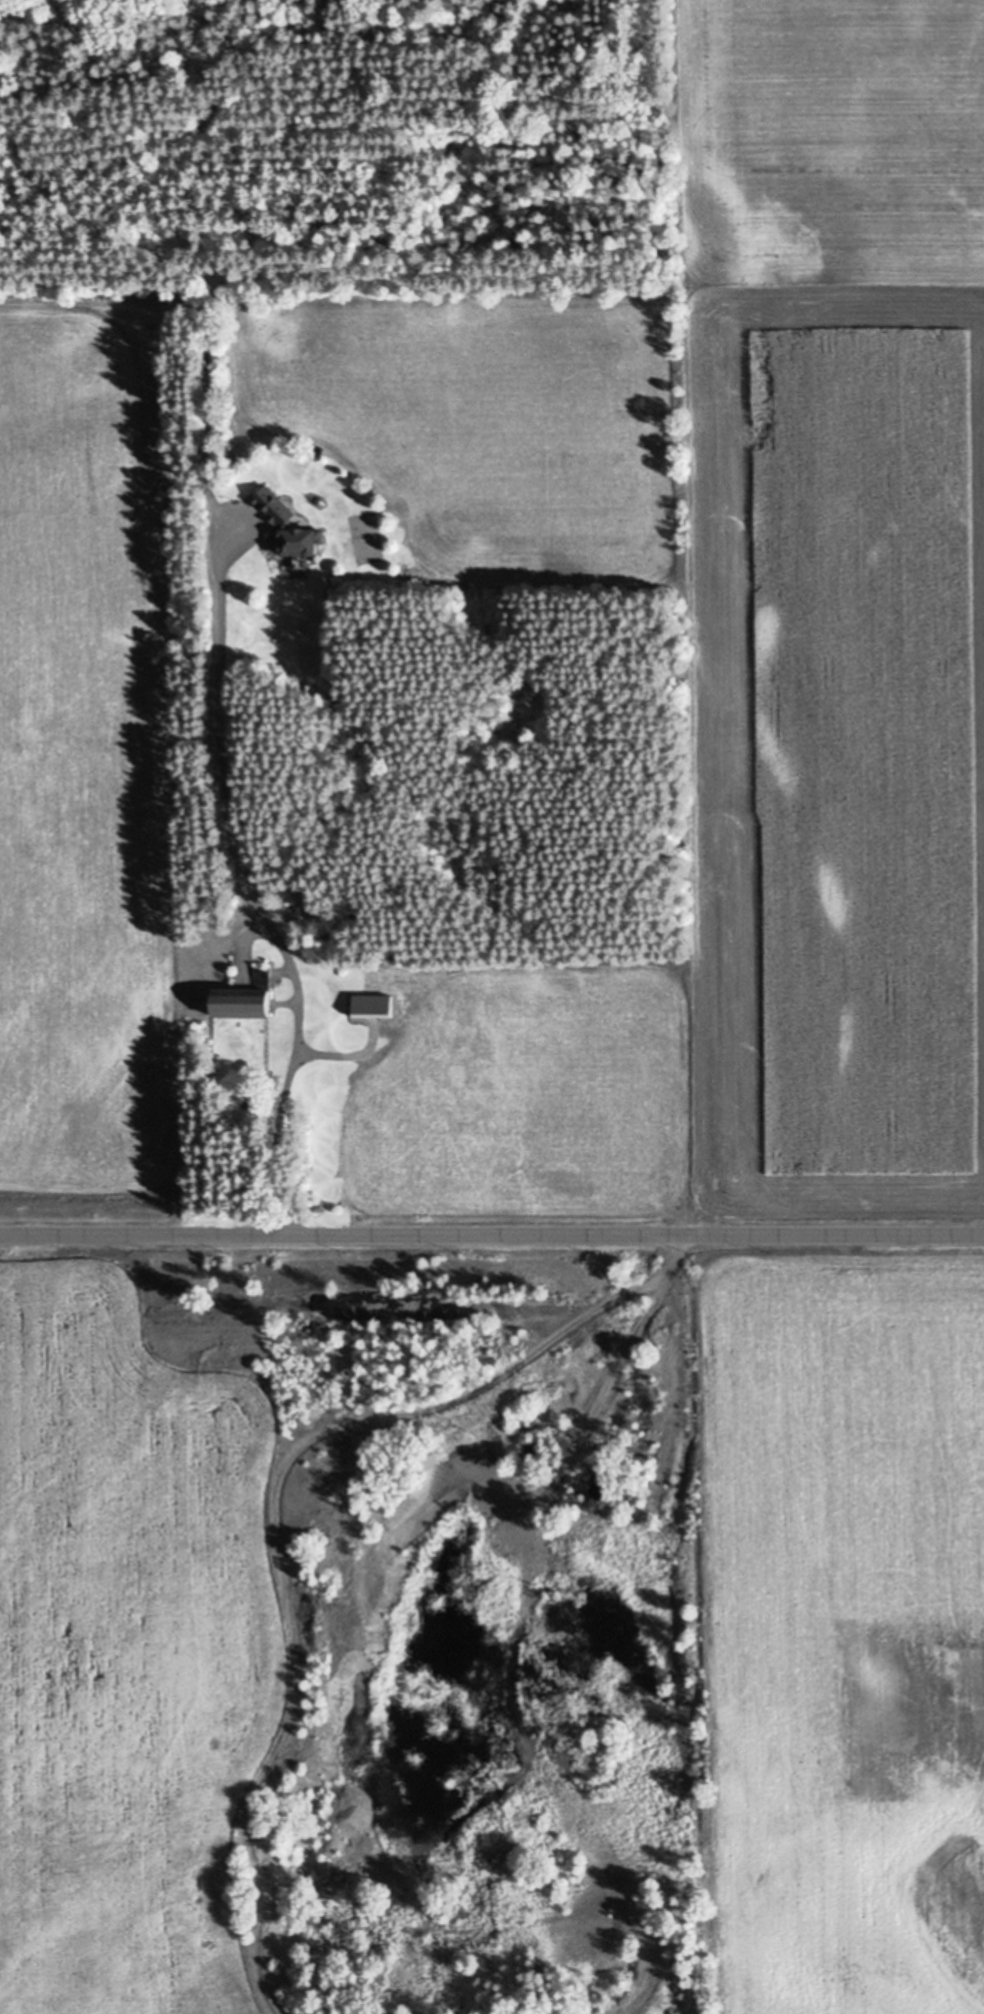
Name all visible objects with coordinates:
building: (288, 525)
road: (255, 893)
building: (263, 971)
building: (246, 1002)
building: (374, 1003)
road: (491, 1233)
road: (676, 1252)
road: (276, 1528)
quarry: (480, 1630)
road: (514, 1651)

